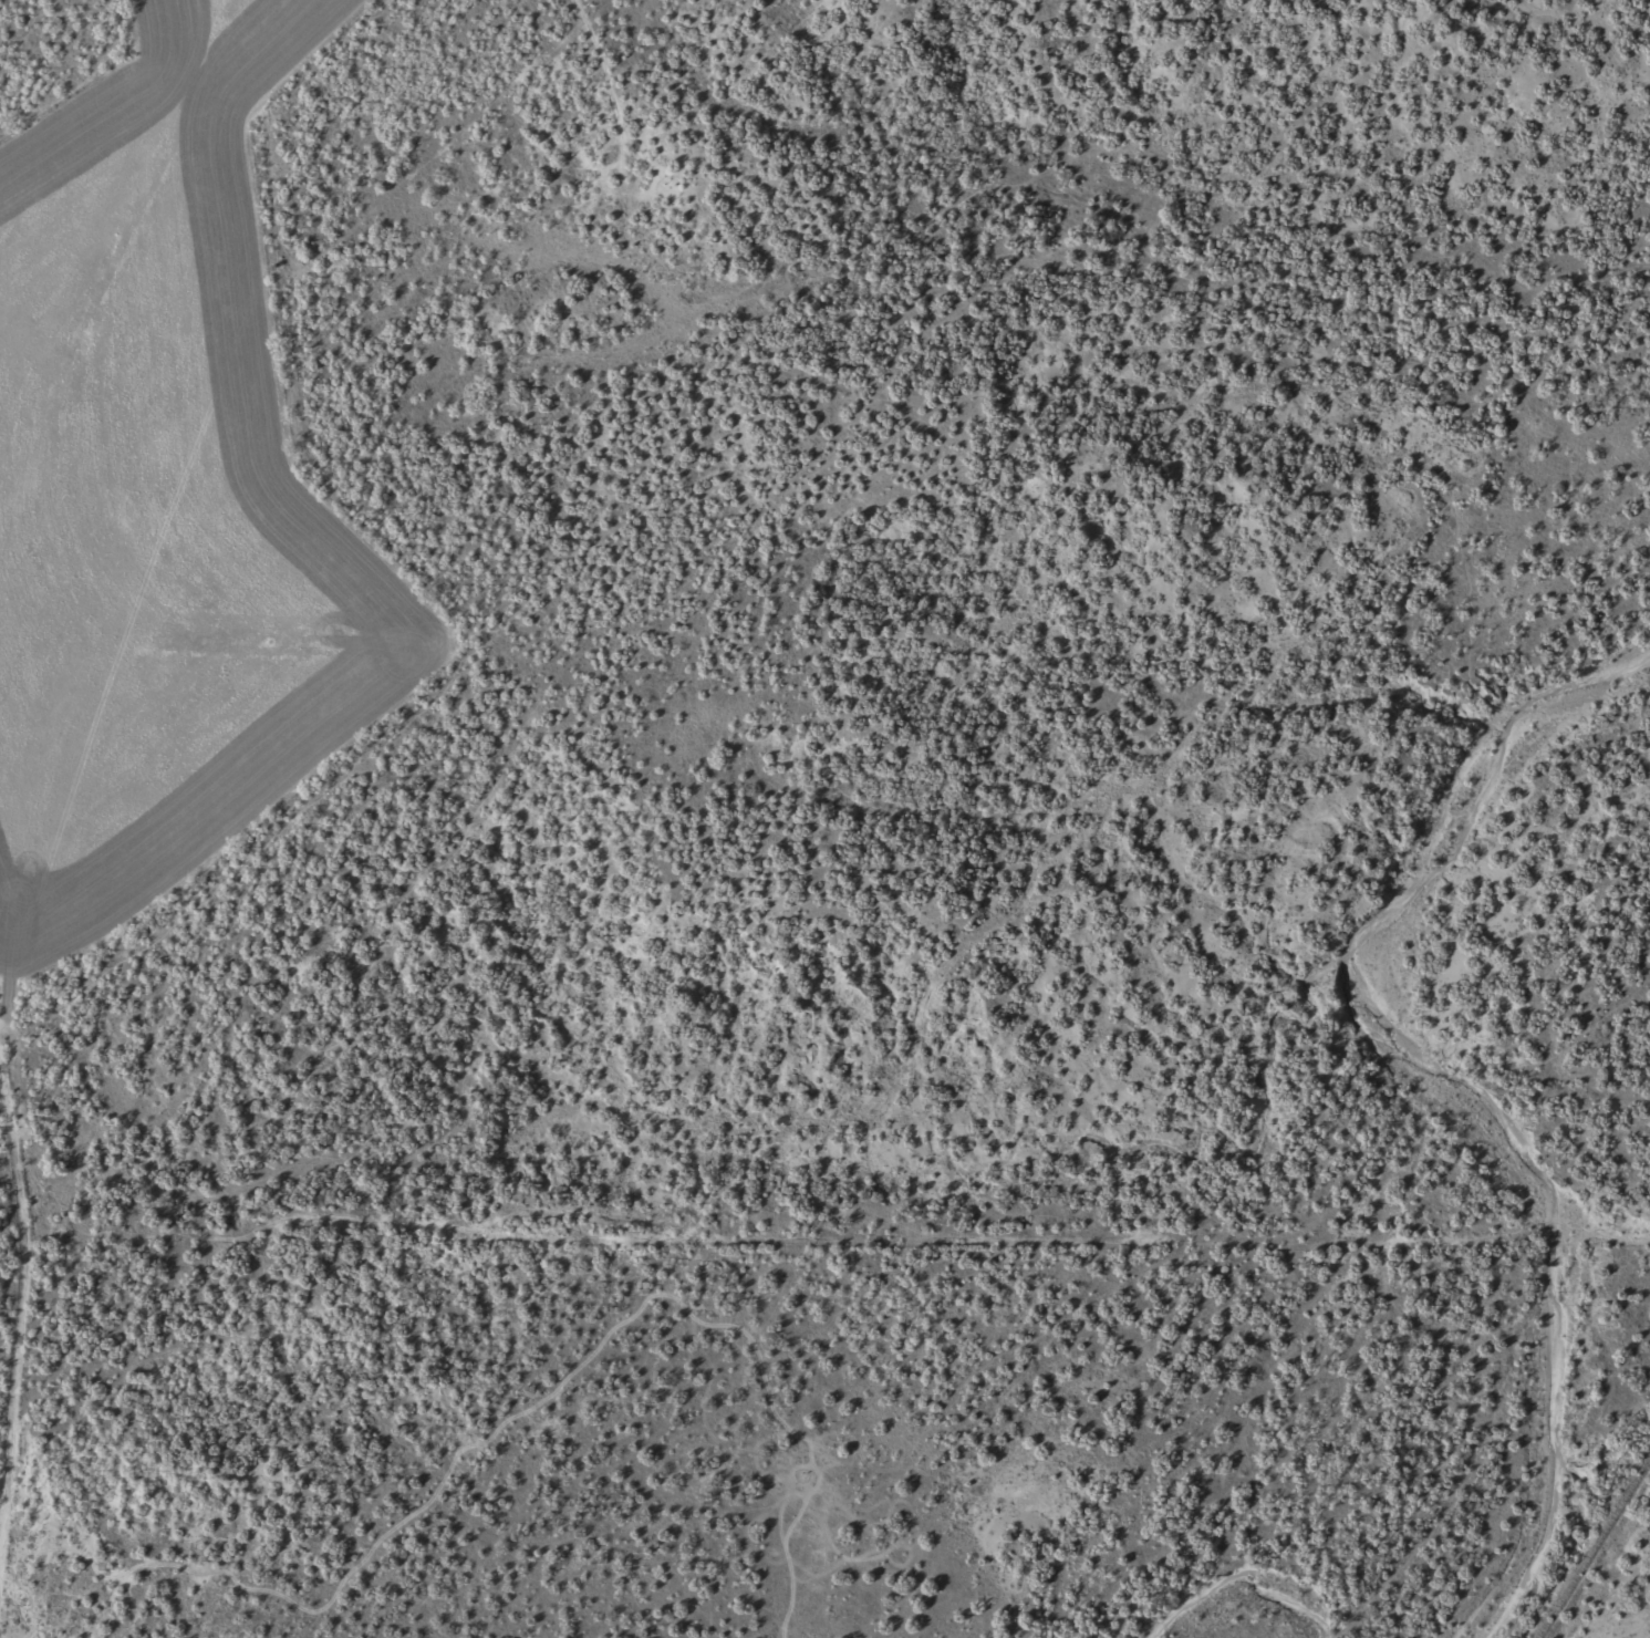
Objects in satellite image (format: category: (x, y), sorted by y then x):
railway: (1592, 1553)

